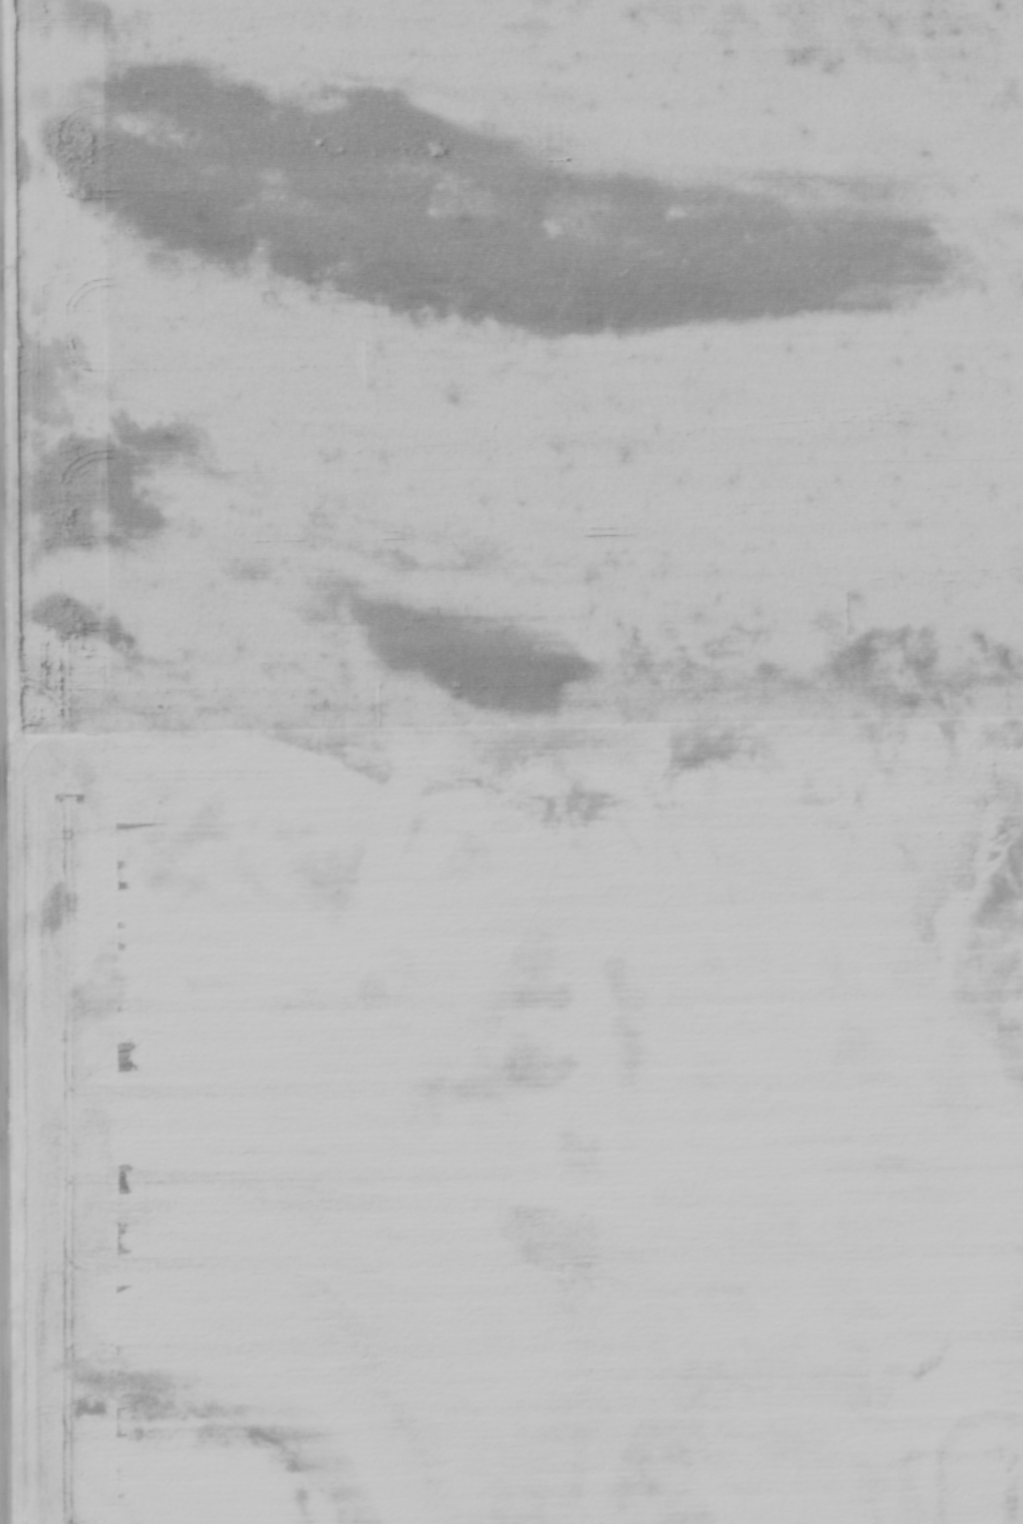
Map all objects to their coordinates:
crop: (522, 360)
road: (2, 1020)

